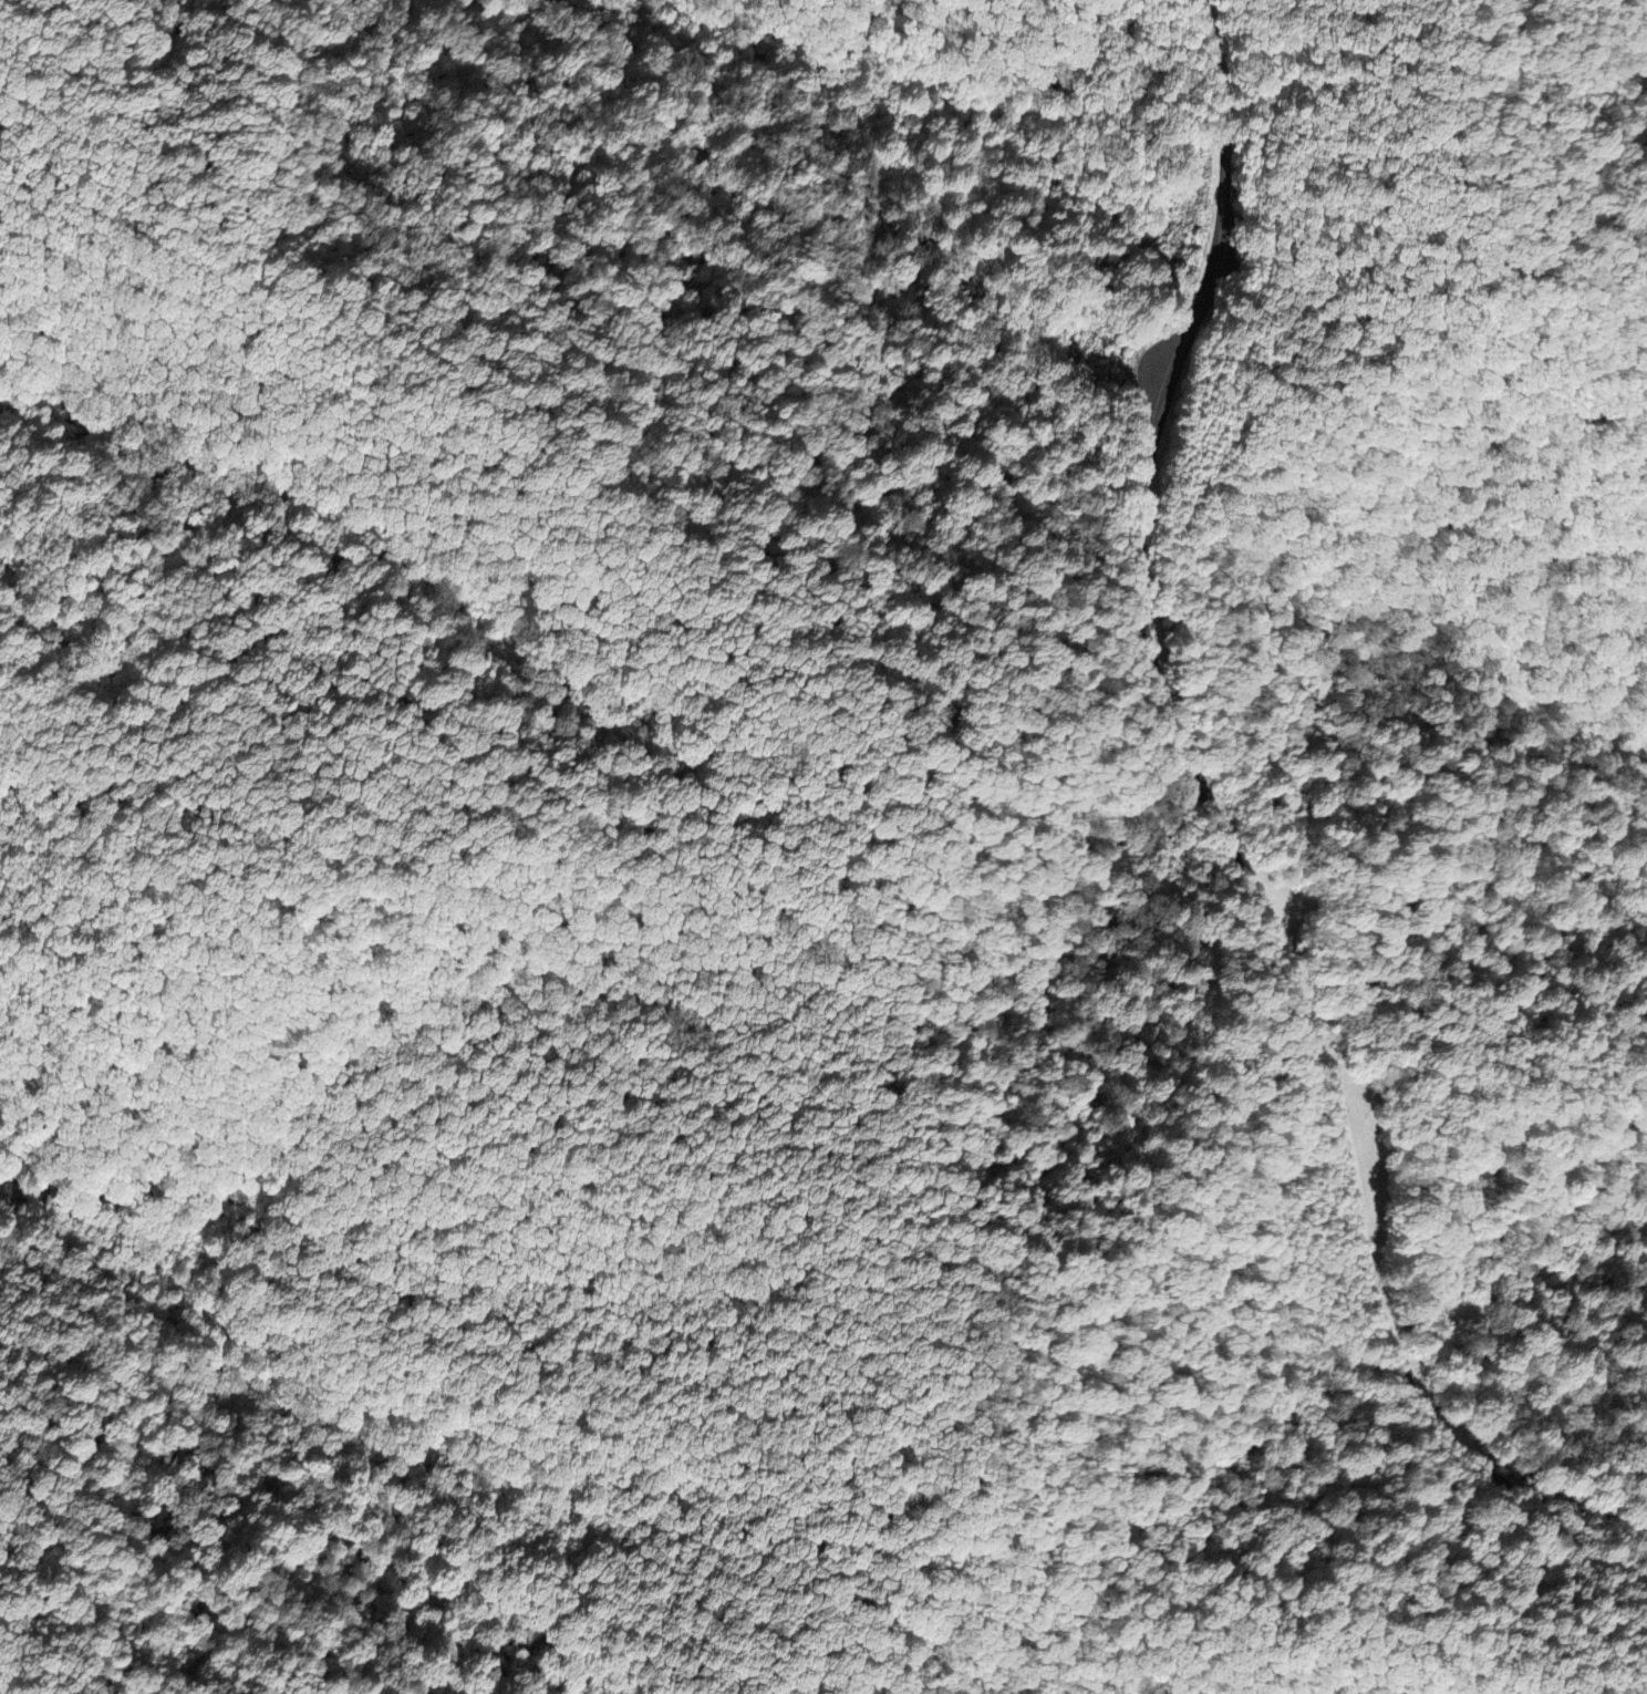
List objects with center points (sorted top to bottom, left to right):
parking lot: (1156, 374)
road: (1148, 375)
road: (1228, 838)

